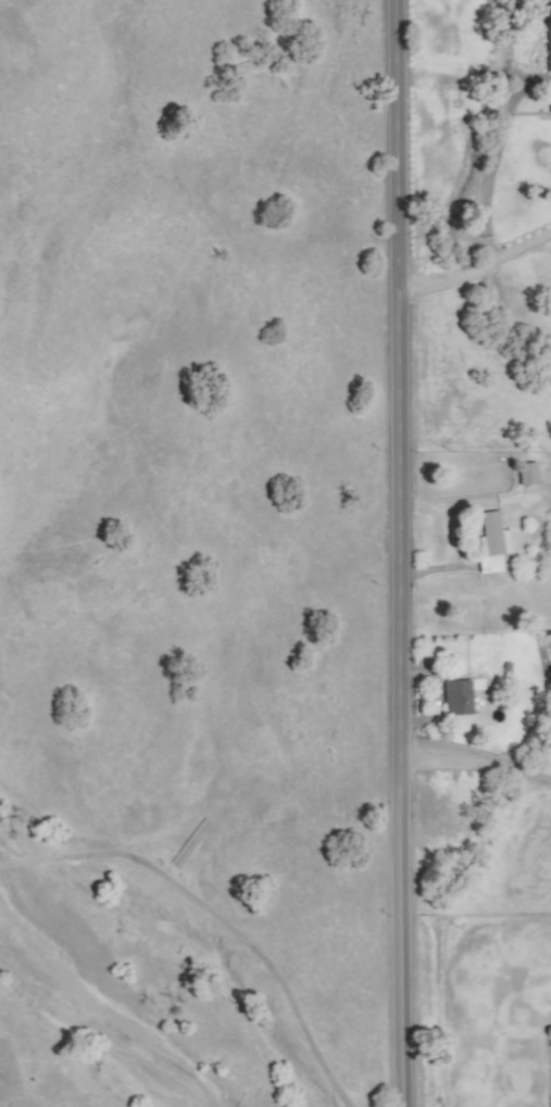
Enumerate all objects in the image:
building: (548, 37)
building: (550, 104)
road: (491, 173)
road: (478, 273)
building: (527, 474)
crop: (237, 525)
road: (399, 553)
building: (456, 697)
road: (215, 915)

